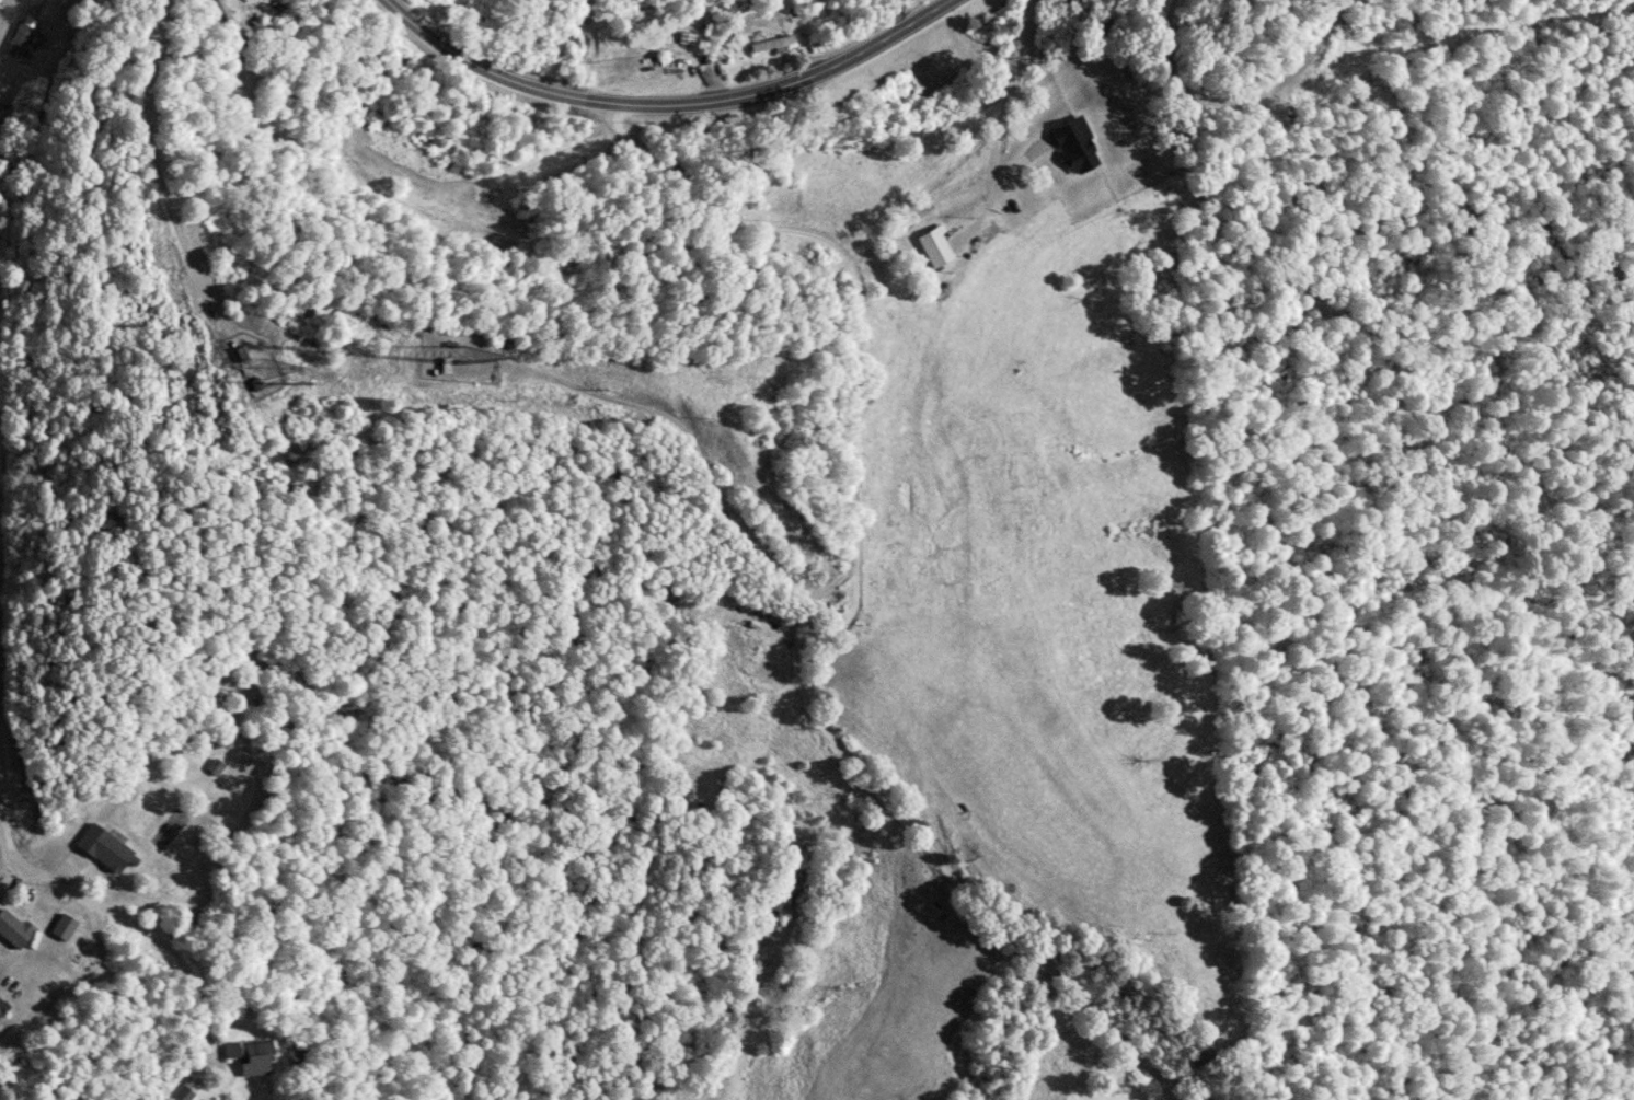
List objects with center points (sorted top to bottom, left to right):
building: (25, 36)
building: (774, 43)
road: (824, 67)
road: (521, 84)
road: (1008, 113)
building: (1055, 154)
building: (1144, 180)
road: (164, 182)
building: (933, 250)
road: (854, 614)
road: (4, 822)
building: (116, 854)
building: (67, 927)
building: (15, 929)
building: (261, 1058)

